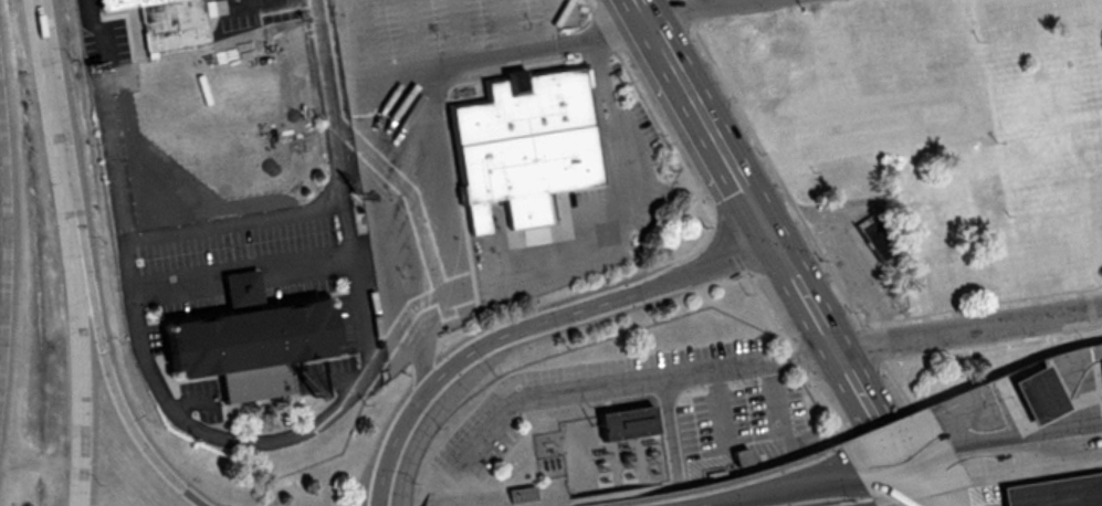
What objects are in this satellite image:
road: (764, 1)
road: (707, 6)
road: (718, 10)
building: (171, 22)
building: (1101, 42)
building: (779, 71)
road: (707, 119)
road: (61, 128)
building: (522, 144)
road: (6, 207)
traffic signals: (776, 240)
road: (535, 323)
road: (970, 330)
road: (1, 339)
building: (255, 340)
building: (1098, 357)
road: (851, 372)
road: (1066, 384)
road: (117, 394)
road: (1067, 394)
road: (1067, 402)
road: (1067, 410)
road: (1067, 417)
building: (622, 423)
road: (1067, 423)
road: (1067, 431)
road: (991, 434)
road: (1067, 438)
road: (258, 443)
road: (903, 466)
road: (890, 487)
road: (762, 492)
building: (1052, 492)

